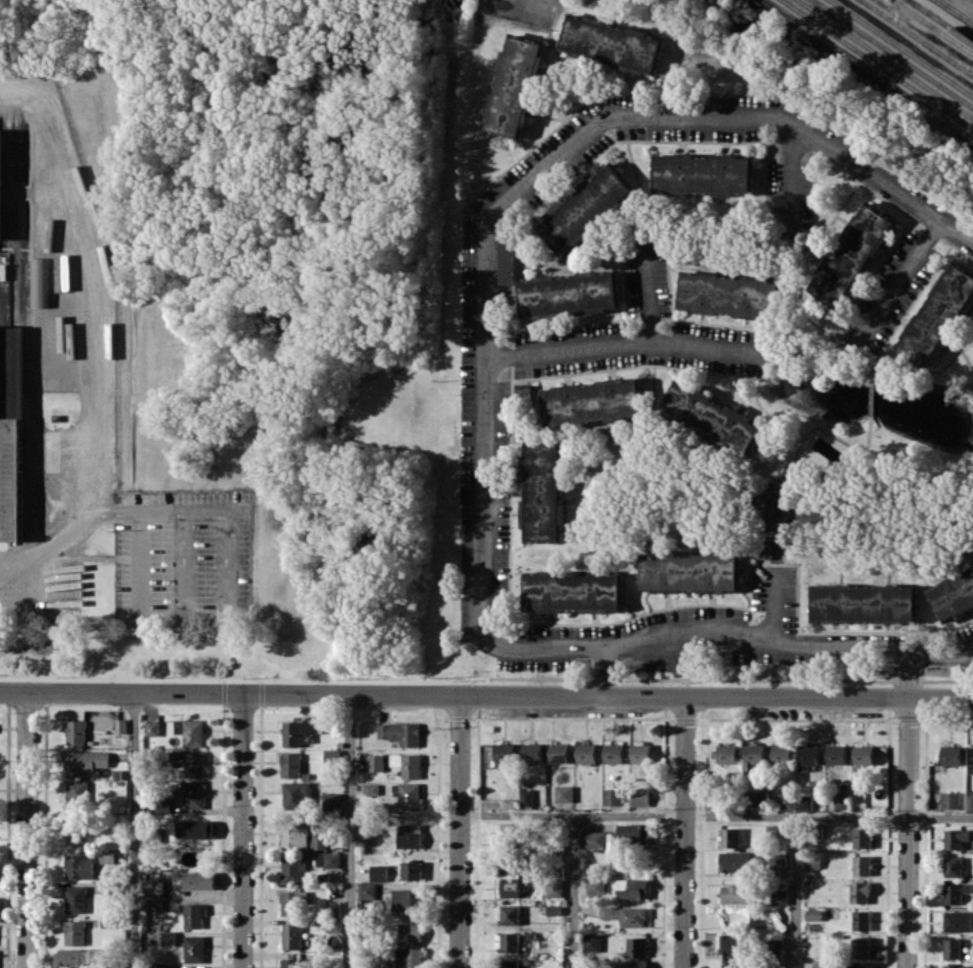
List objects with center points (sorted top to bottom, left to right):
railway: (957, 10)
railway: (942, 20)
railway: (933, 26)
railway: (917, 37)
building: (611, 44)
railway: (902, 47)
railway: (893, 53)
railway: (885, 58)
railway: (877, 64)
building: (515, 86)
road: (709, 115)
building: (702, 174)
road: (790, 180)
building: (2, 185)
building: (585, 208)
road: (955, 237)
building: (506, 255)
building: (851, 256)
building: (39, 282)
road: (646, 288)
road: (894, 288)
building: (568, 294)
building: (728, 294)
building: (937, 317)
road: (91, 336)
road: (625, 344)
building: (11, 392)
building: (593, 402)
building: (710, 418)
building: (543, 491)
building: (771, 504)
road: (200, 513)
building: (769, 551)
building: (690, 572)
building: (574, 591)
building: (953, 593)
building: (864, 603)
road: (774, 605)
road: (107, 618)
road: (520, 650)
road: (605, 672)
road: (909, 674)
road: (486, 697)
building: (121, 725)
building: (152, 727)
building: (191, 731)
building: (300, 731)
building: (76, 732)
building: (400, 732)
building: (504, 752)
building: (532, 752)
building: (559, 752)
building: (586, 752)
building: (641, 752)
building: (613, 753)
building: (725, 753)
building: (782, 753)
building: (836, 754)
building: (863, 754)
building: (971, 754)
building: (332, 755)
building: (808, 755)
building: (951, 755)
building: (754, 756)
building: (84, 762)
building: (192, 762)
building: (375, 762)
building: (407, 764)
building: (290, 765)
building: (370, 788)
building: (78, 791)
building: (563, 793)
building: (193, 794)
building: (295, 795)
building: (409, 796)
building: (612, 796)
building: (640, 796)
building: (757, 798)
building: (949, 799)
building: (520, 800)
building: (787, 800)
building: (841, 800)
building: (333, 802)
building: (969, 802)
road: (716, 816)
building: (195, 828)
building: (510, 829)
road: (28, 831)
road: (134, 831)
building: (77, 832)
road: (243, 832)
road: (350, 832)
road: (459, 832)
road: (684, 833)
road: (907, 833)
building: (409, 835)
building: (295, 836)
building: (628, 836)
building: (730, 837)
building: (862, 837)
building: (956, 837)
building: (593, 839)
building: (319, 842)
building: (107, 855)
building: (329, 860)
building: (735, 861)
building: (778, 861)
building: (511, 862)
building: (862, 865)
building: (79, 866)
building: (952, 866)
building: (293, 869)
building: (412, 870)
building: (378, 872)
building: (199, 880)
building: (153, 886)
building: (510, 887)
building: (634, 888)
building: (366, 890)
road: (573, 892)
road: (796, 892)
building: (859, 892)
building: (955, 892)
building: (737, 894)
building: (779, 897)
building: (76, 899)
building: (407, 899)
building: (292, 902)
building: (154, 904)
building: (510, 914)
building: (192, 915)
building: (626, 915)
building: (812, 915)
building: (861, 920)
building: (958, 921)
building: (410, 931)
building: (74, 932)
building: (292, 936)
building: (509, 942)
building: (592, 942)
building: (730, 944)
building: (636, 946)
building: (860, 947)
building: (194, 948)
building: (952, 948)
building: (73, 956)
building: (404, 958)
building: (291, 962)
building: (510, 963)
building: (633, 964)
building: (811, 965)
building: (859, 965)
building: (158, 966)
building: (956, 966)

